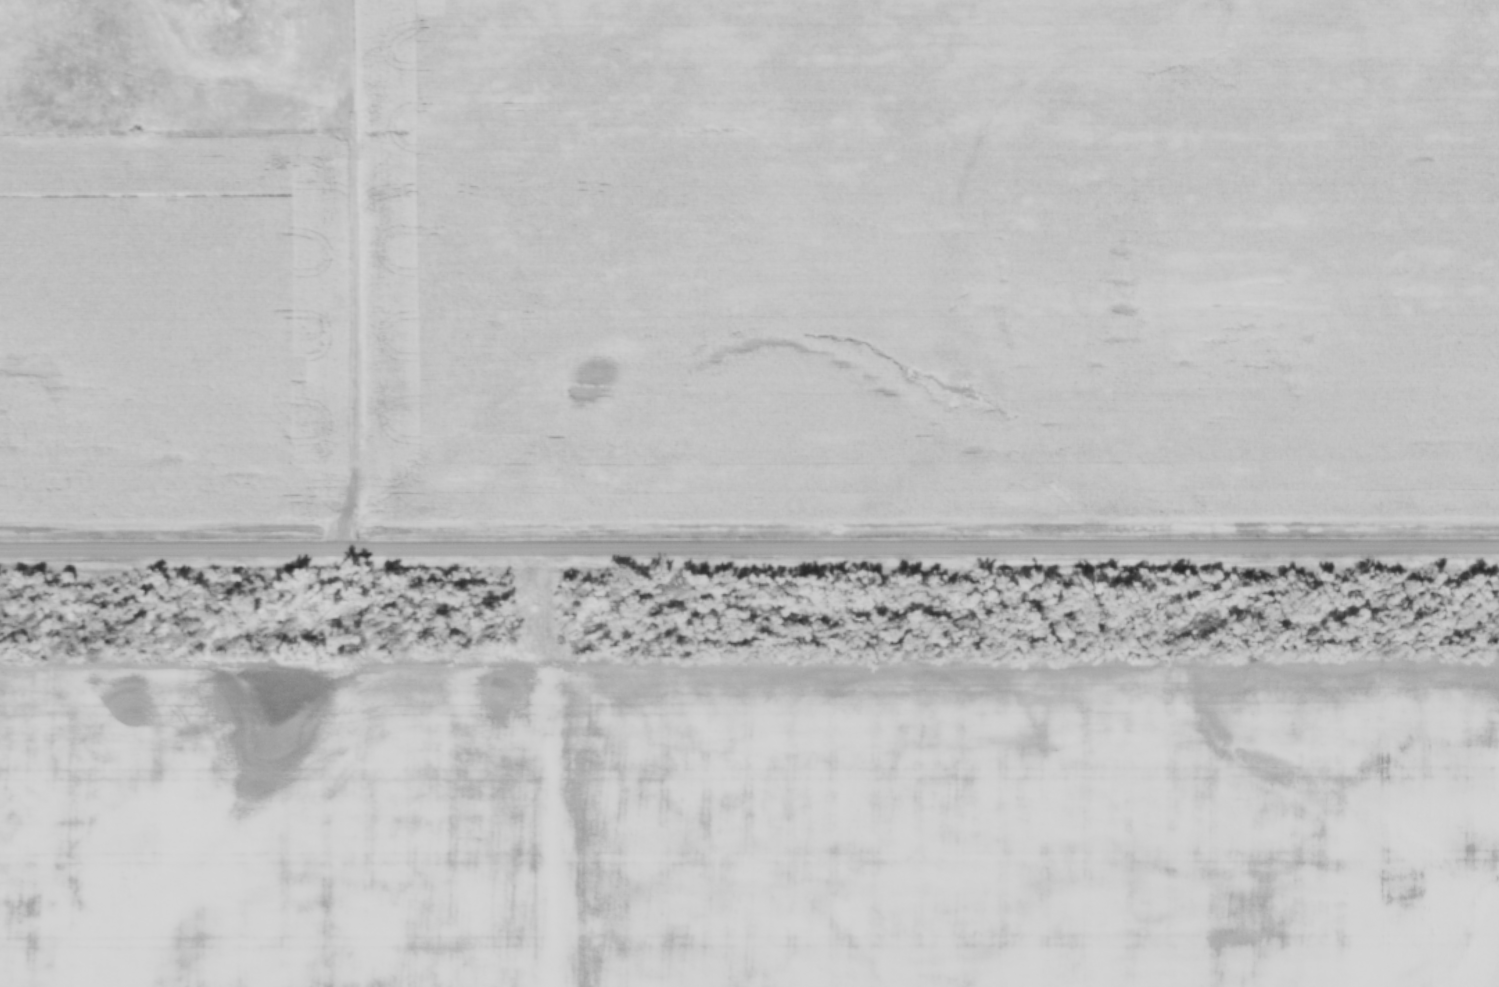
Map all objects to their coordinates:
road: (749, 542)

